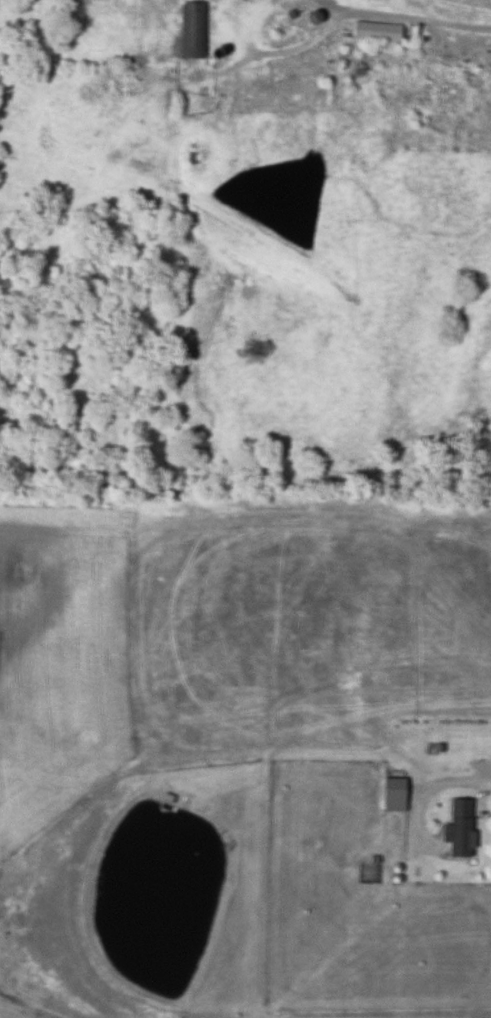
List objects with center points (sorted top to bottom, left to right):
road: (428, 20)
building: (191, 28)
building: (376, 31)
building: (393, 793)
building: (164, 801)
building: (458, 827)

